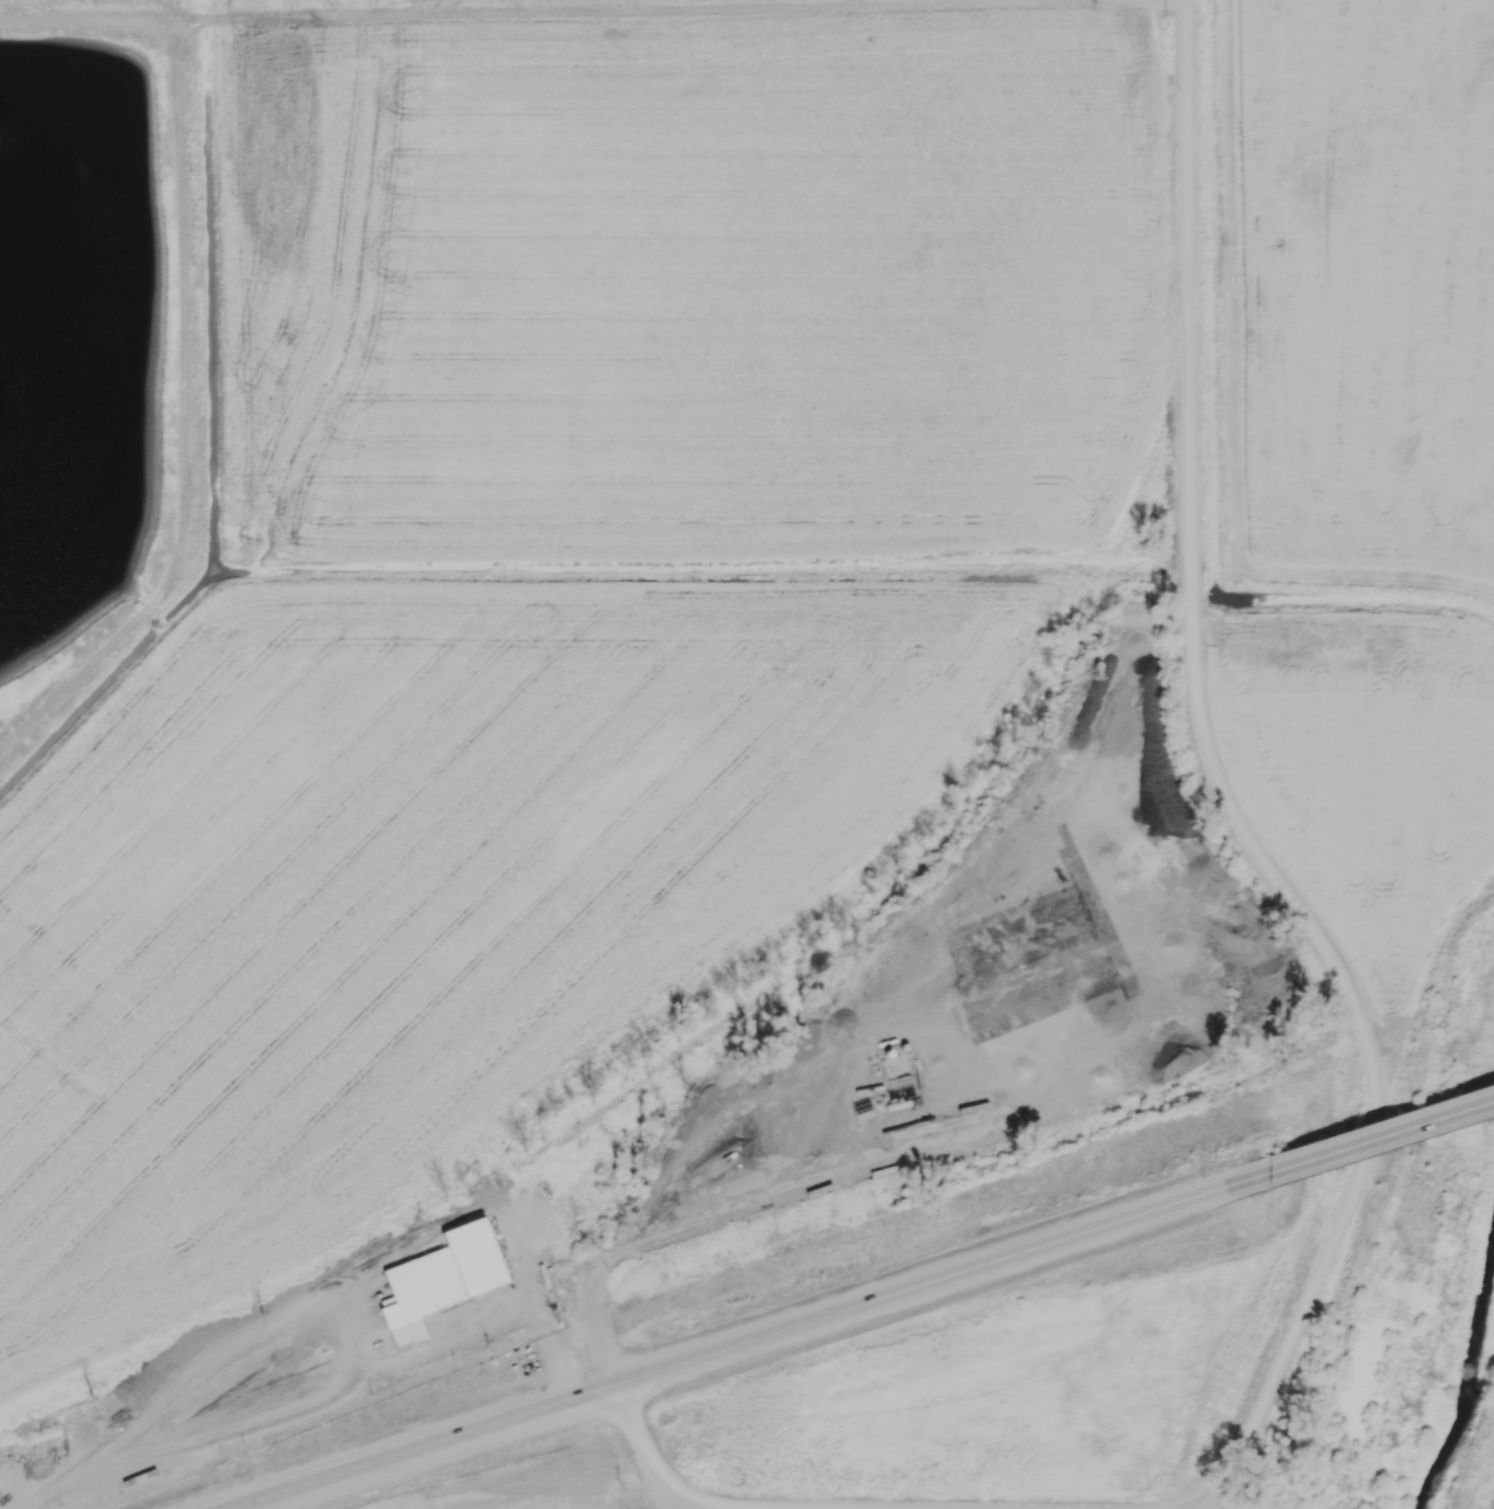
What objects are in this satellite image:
road: (593, 12)
road: (1223, 802)
road: (1382, 1137)
road: (641, 1228)
building: (444, 1281)
road: (759, 1342)
road: (553, 1352)
river: (1473, 1393)
road: (651, 1465)

